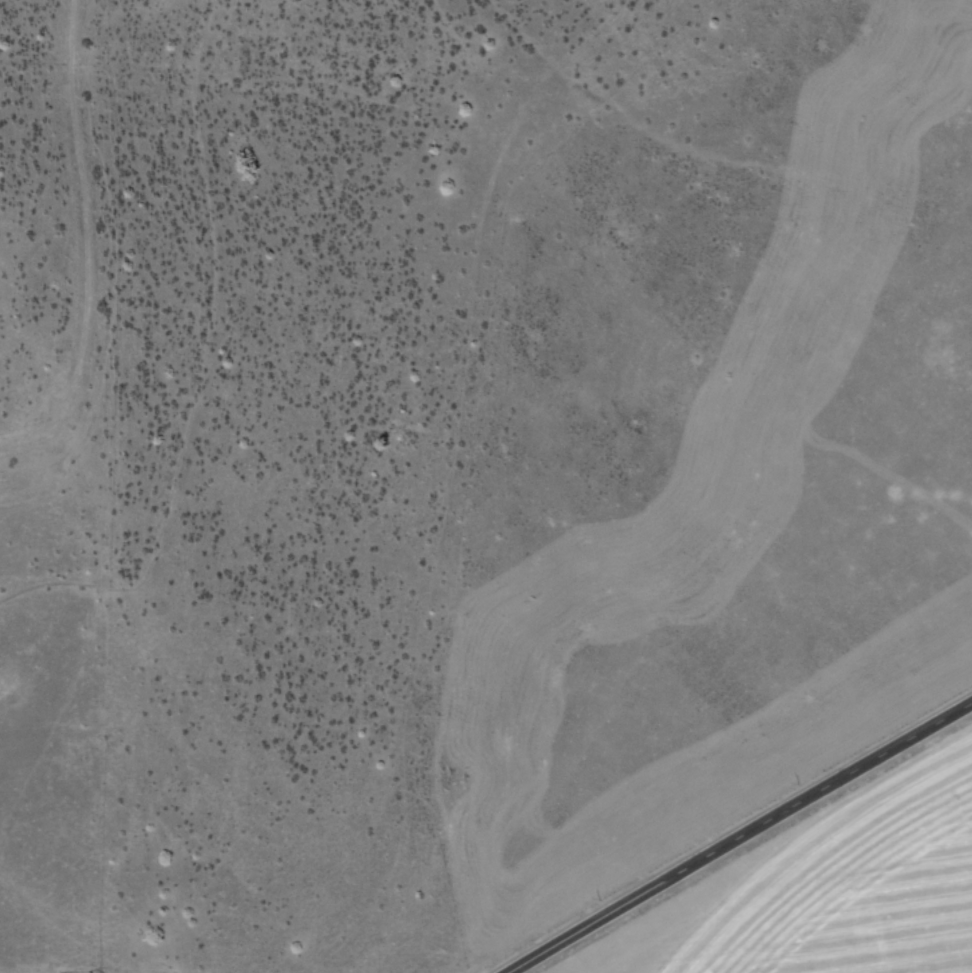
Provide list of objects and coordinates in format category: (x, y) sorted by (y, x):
road: (736, 835)
road: (9, 965)

